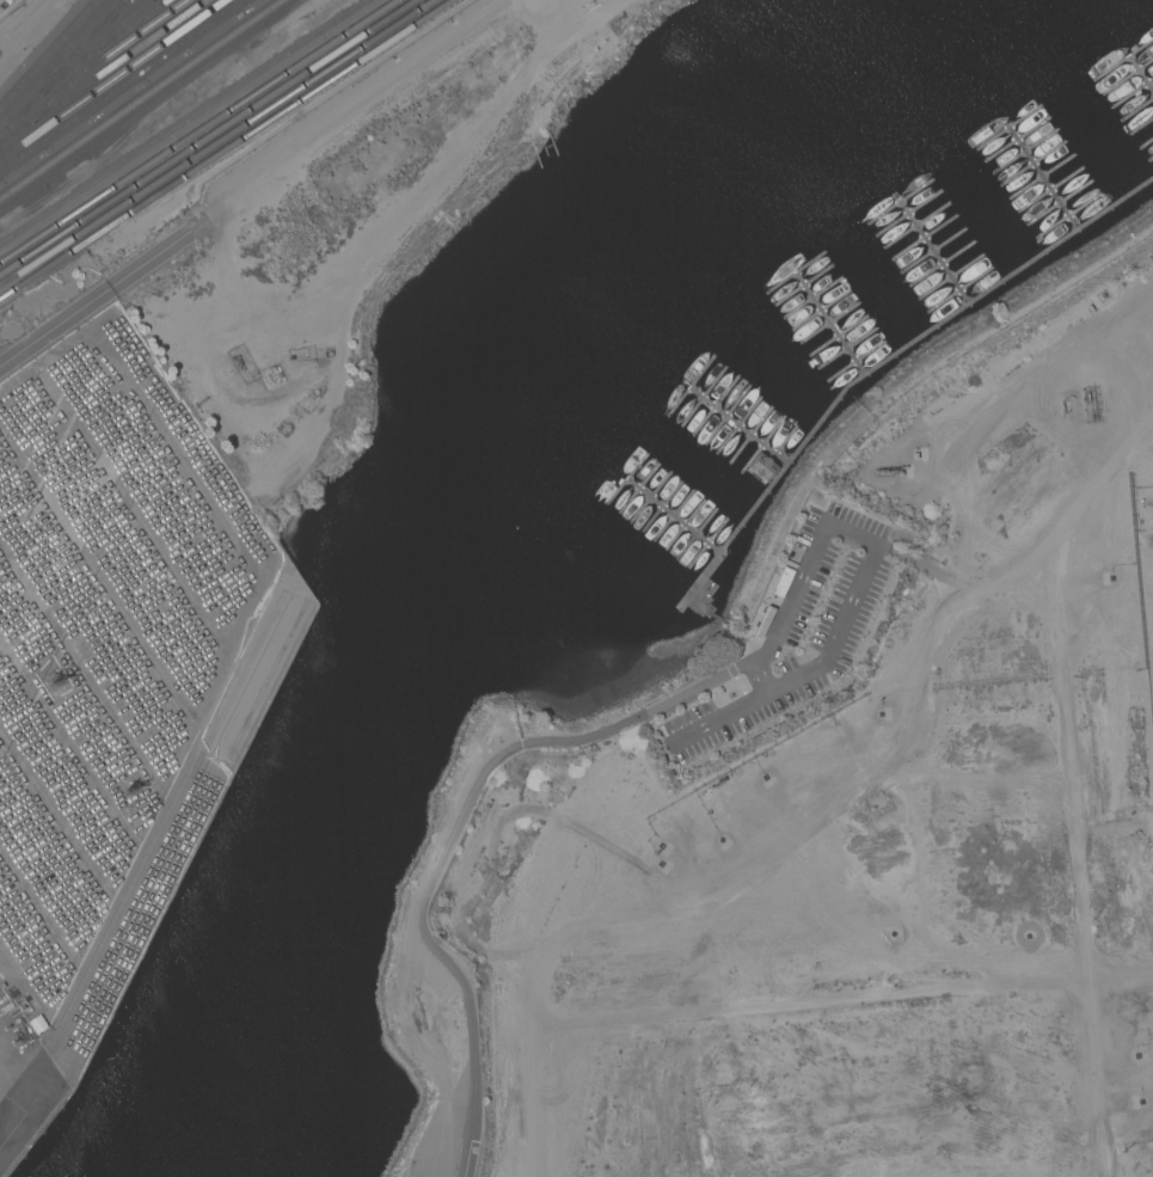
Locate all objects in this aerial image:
railway: (127, 1)
railway: (99, 25)
railway: (111, 38)
railway: (48, 53)
railway: (74, 62)
railway: (60, 66)
railway: (88, 67)
railway: (100, 72)
railway: (110, 79)
railway: (119, 85)
railway: (140, 98)
railway: (183, 121)
railway: (197, 130)
railway: (210, 140)
railway: (217, 143)
railway: (227, 149)
road: (148, 259)
road: (54, 326)
building: (762, 467)
road: (809, 563)
building: (783, 582)
building: (763, 621)
parking lot: (99, 654)
road: (441, 955)
building: (36, 1024)
road: (4, 1066)

